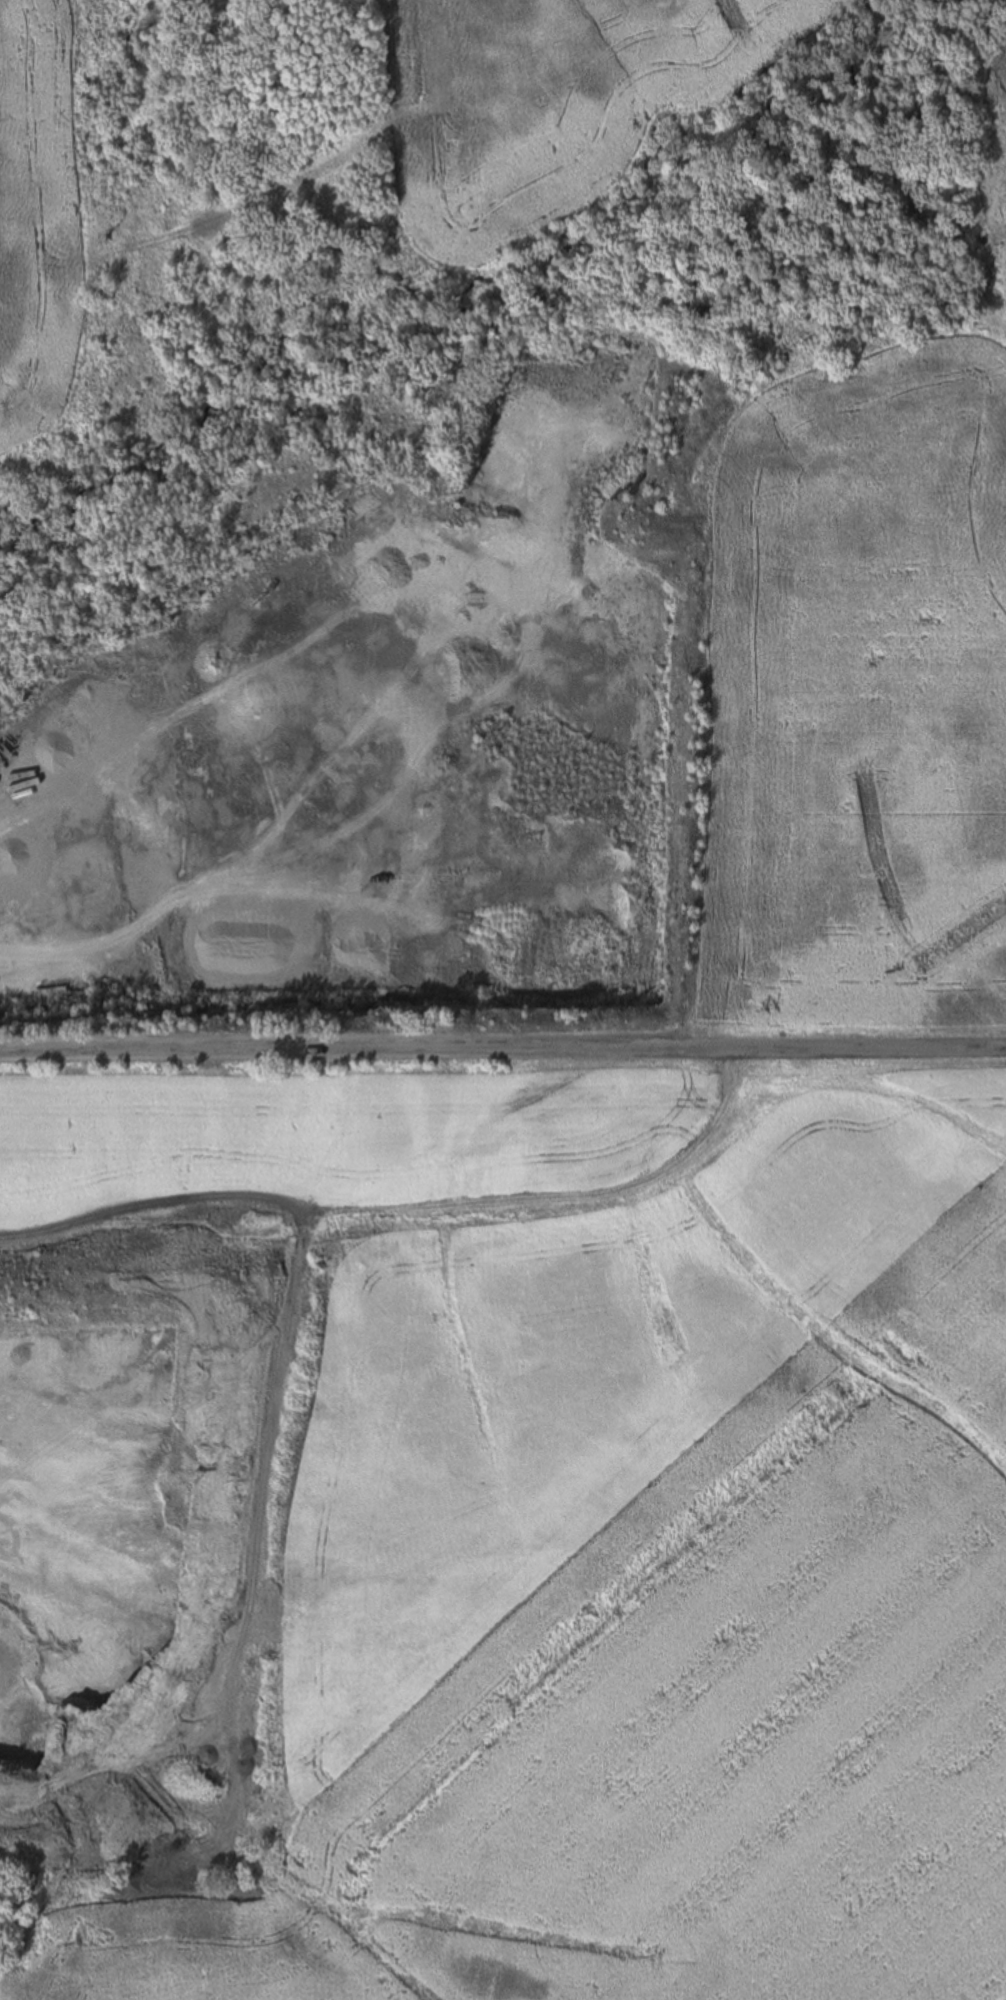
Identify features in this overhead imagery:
road: (502, 1048)

